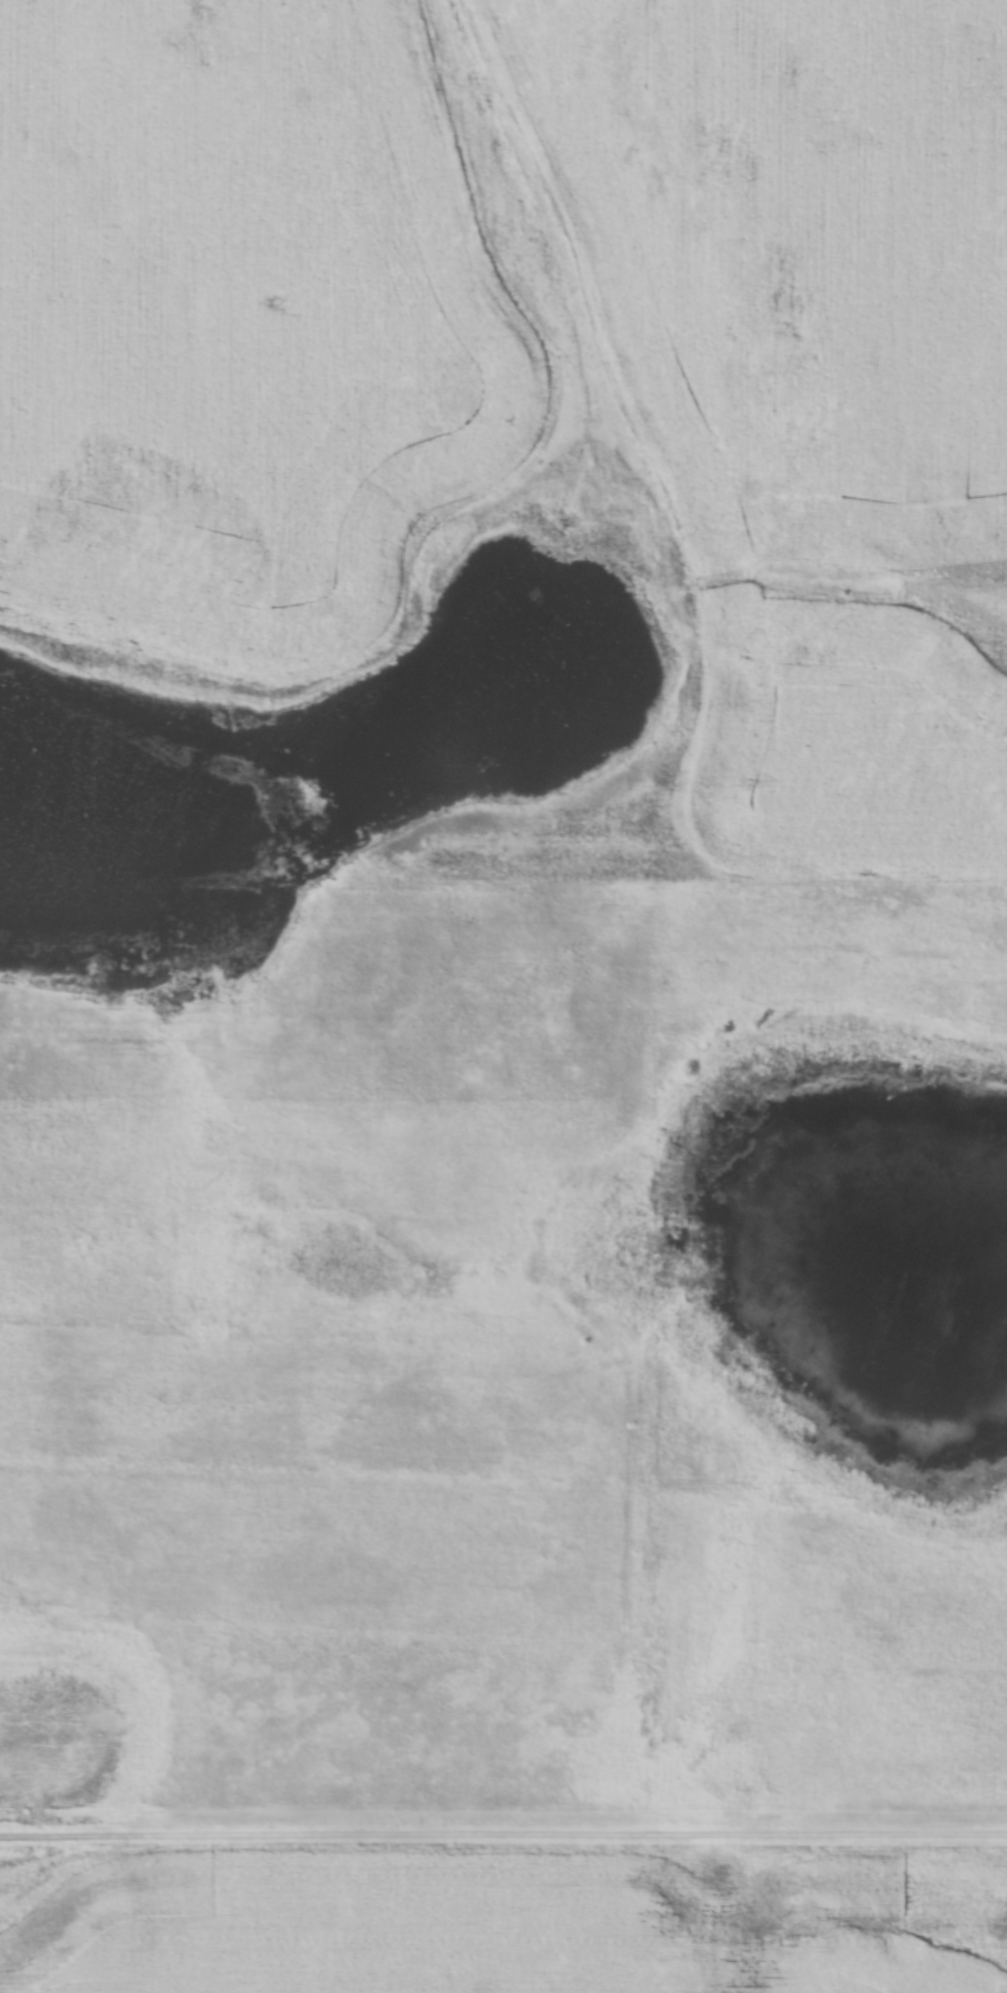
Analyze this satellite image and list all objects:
road: (503, 1841)

